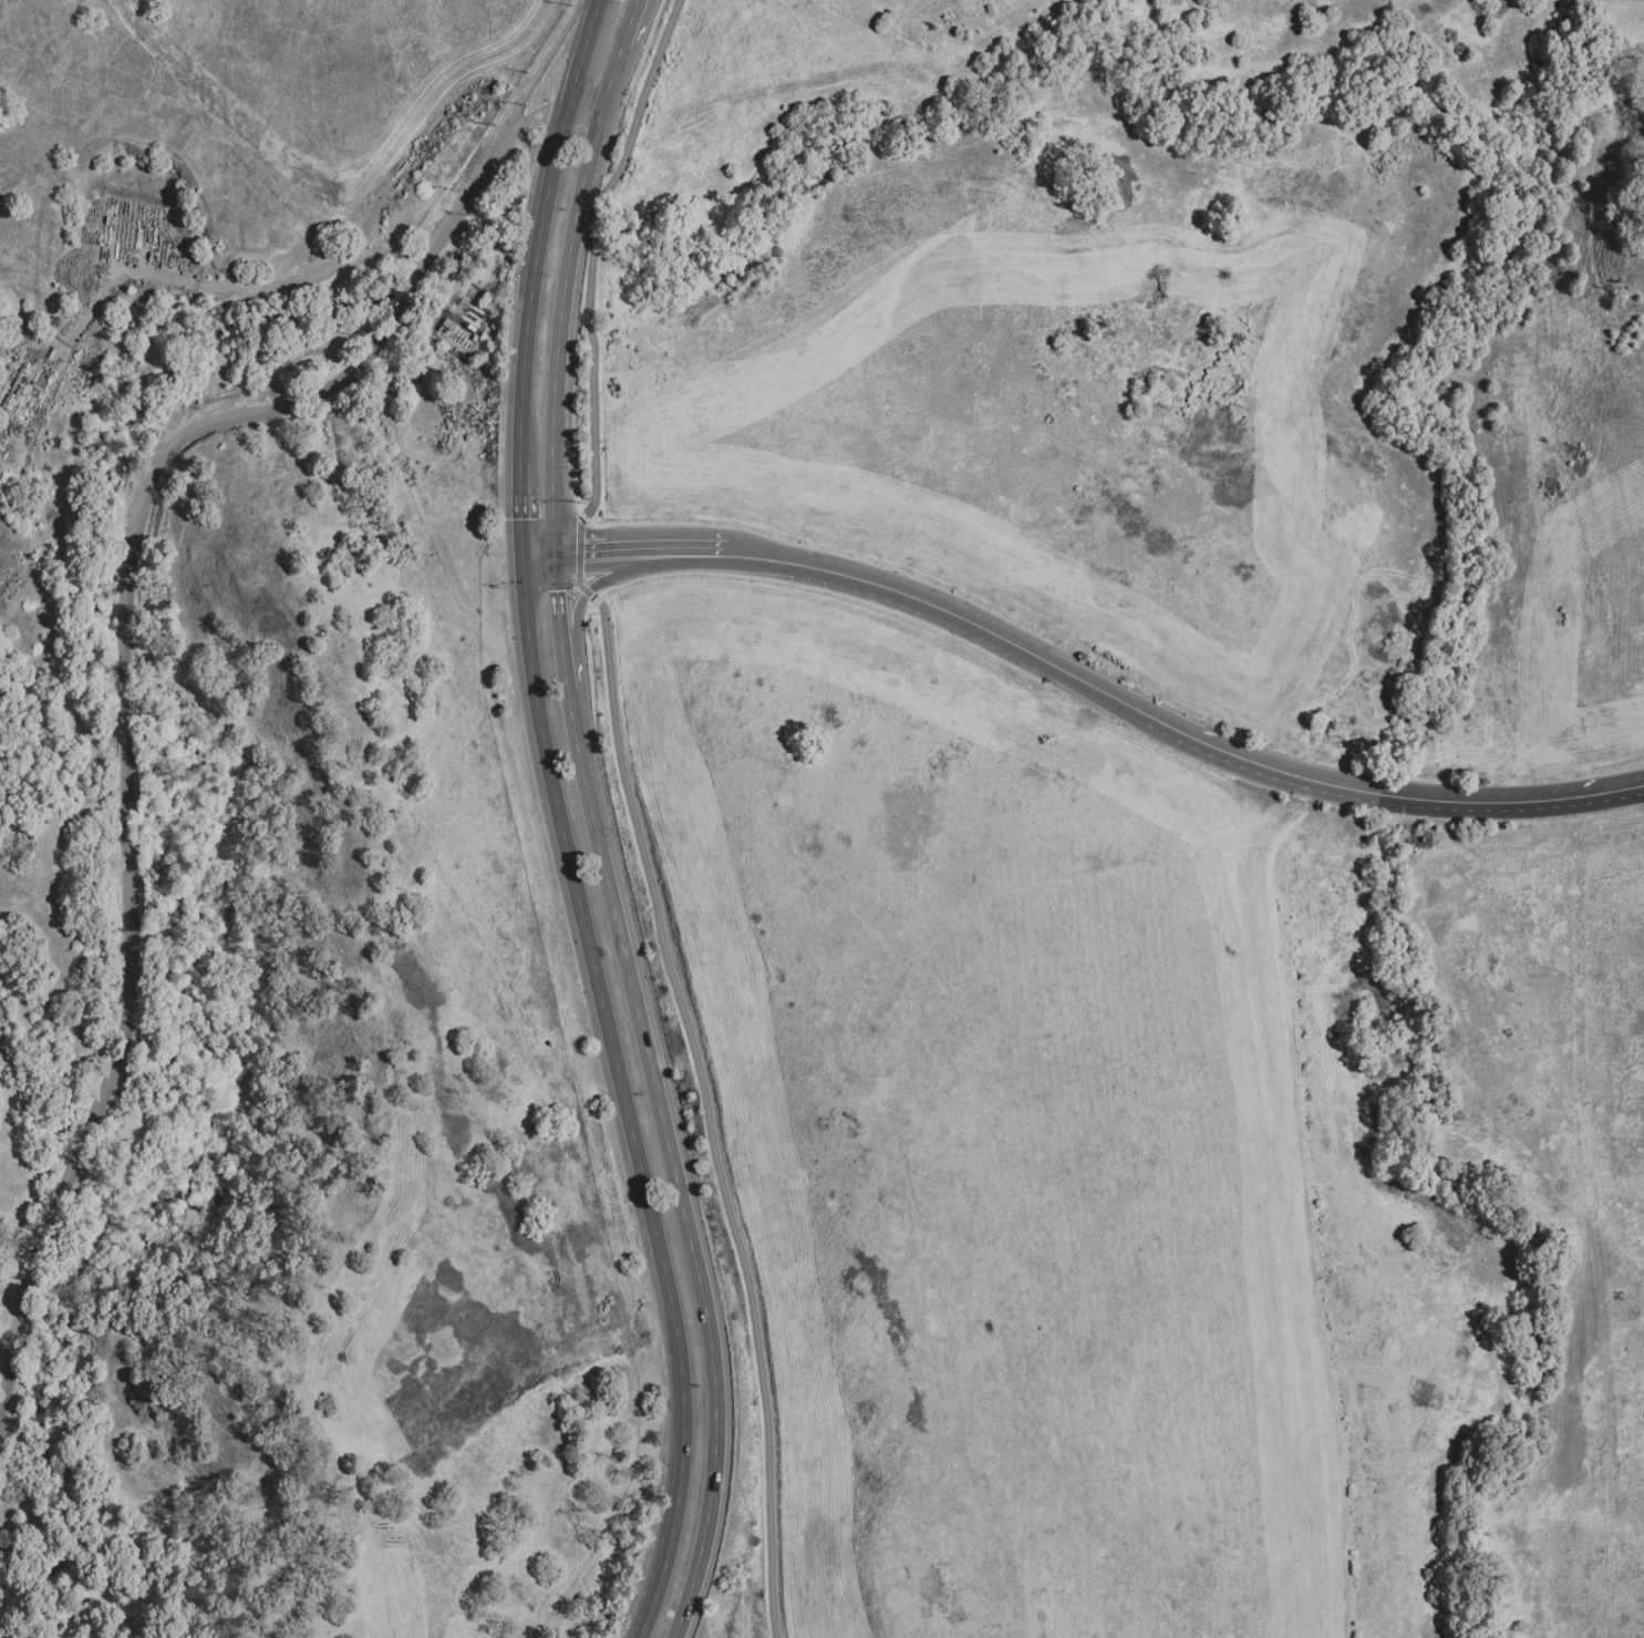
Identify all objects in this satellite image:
road: (581, 2)
road: (592, 3)
road: (624, 44)
road: (576, 56)
road: (542, 62)
road: (587, 97)
road: (534, 115)
road: (526, 282)
road: (232, 289)
road: (563, 321)
building: (451, 334)
road: (280, 409)
road: (515, 512)
traffic signals: (516, 516)
road: (683, 553)
road: (596, 555)
traffic signals: (581, 556)
road: (536, 558)
road: (763, 559)
road: (623, 563)
traffic signals: (558, 583)
road: (558, 593)
road: (926, 604)
road: (577, 661)
building: (1375, 671)
road: (1097, 690)
road: (573, 696)
road: (125, 704)
building: (1327, 714)
building: (1499, 754)
road: (1623, 790)
road: (1367, 793)
road: (593, 805)
road: (632, 808)
road: (115, 1071)
road: (618, 1099)
road: (1313, 1208)
road: (693, 1240)
building: (339, 1503)
building: (348, 1536)
road: (385, 1595)

